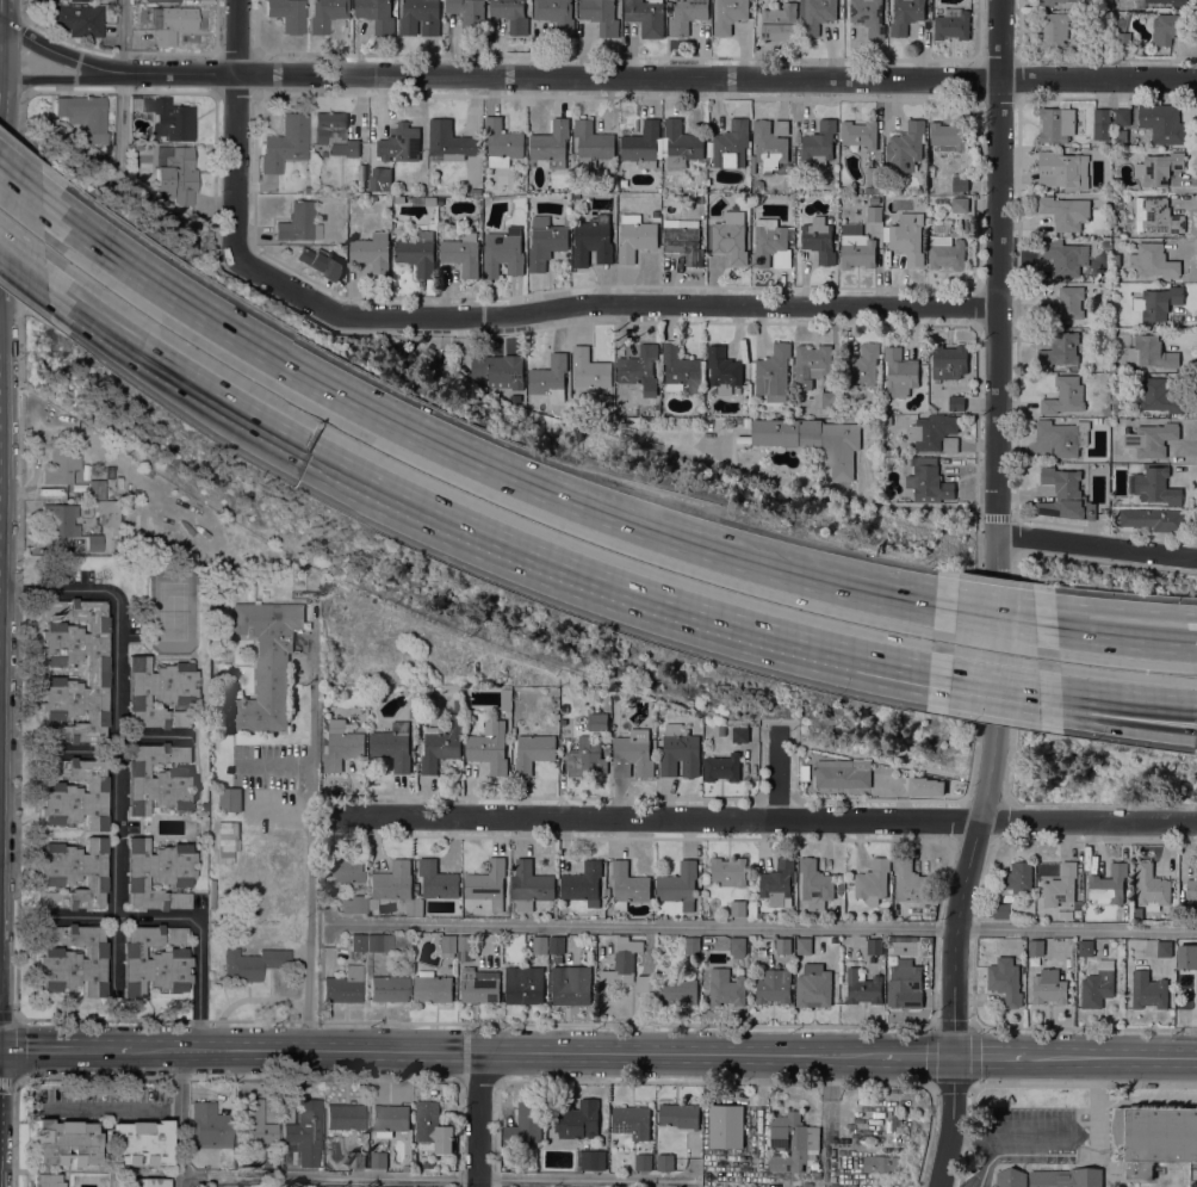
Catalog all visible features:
building: (79, 0)
building: (135, 0)
building: (1079, 0)
building: (162, 1)
building: (1049, 1)
building: (1170, 1)
building: (327, 13)
building: (287, 14)
building: (377, 14)
building: (510, 14)
building: (556, 14)
building: (815, 14)
building: (469, 16)
building: (601, 16)
building: (687, 16)
building: (728, 16)
building: (868, 16)
building: (905, 16)
building: (420, 17)
building: (646, 17)
building: (75, 19)
building: (780, 21)
building: (1122, 21)
building: (169, 23)
building: (951, 23)
building: (1166, 27)
building: (1053, 30)
building: (1102, 39)
building: (1122, 39)
road: (591, 75)
road: (61, 78)
road: (120, 84)
building: (85, 115)
building: (1122, 116)
building: (169, 119)
road: (234, 122)
building: (1162, 122)
building: (1056, 123)
building: (1100, 123)
building: (334, 134)
building: (860, 134)
building: (948, 134)
building: (449, 141)
building: (731, 142)
building: (285, 143)
building: (401, 143)
building: (502, 143)
building: (551, 143)
building: (591, 143)
building: (681, 143)
building: (770, 143)
building: (819, 143)
building: (643, 144)
building: (905, 147)
building: (752, 163)
building: (1158, 167)
building: (789, 168)
building: (1062, 168)
building: (361, 172)
building: (930, 172)
building: (176, 174)
building: (873, 174)
building: (377, 184)
building: (960, 184)
road: (21, 185)
building: (440, 188)
building: (868, 188)
building: (305, 190)
building: (475, 191)
building: (398, 199)
building: (424, 200)
building: (876, 200)
building: (959, 204)
building: (1065, 211)
building: (873, 214)
building: (1114, 214)
building: (1156, 216)
building: (298, 223)
building: (634, 236)
building: (907, 237)
building: (546, 240)
building: (593, 240)
building: (730, 240)
building: (818, 240)
building: (684, 243)
building: (770, 243)
building: (944, 246)
building: (856, 247)
building: (372, 253)
building: (417, 253)
building: (461, 253)
building: (502, 254)
building: (1063, 256)
building: (1117, 260)
building: (1153, 260)
building: (322, 262)
road: (999, 288)
road: (603, 302)
building: (1158, 302)
building: (1063, 305)
road: (143, 345)
building: (1059, 350)
building: (1151, 352)
building: (813, 360)
building: (948, 361)
building: (862, 365)
building: (590, 369)
building: (640, 369)
building: (680, 369)
building: (722, 369)
building: (498, 370)
building: (899, 372)
building: (773, 373)
building: (550, 378)
building: (1065, 396)
building: (1159, 396)
building: (829, 398)
building: (606, 402)
building: (956, 402)
building: (577, 407)
building: (641, 409)
building: (887, 419)
building: (935, 432)
building: (1061, 438)
building: (1152, 439)
building: (813, 441)
road: (440, 445)
building: (61, 463)
building: (928, 478)
building: (1154, 486)
building: (95, 489)
building: (1065, 495)
road: (850, 496)
building: (107, 513)
building: (1153, 519)
building: (58, 520)
building: (93, 543)
road: (1097, 546)
road: (693, 612)
road: (1031, 623)
road: (1191, 649)
road: (1191, 650)
building: (267, 662)
building: (98, 670)
building: (159, 692)
road: (1159, 698)
building: (506, 700)
road: (1159, 703)
building: (457, 704)
building: (411, 713)
building: (597, 722)
building: (721, 730)
building: (738, 734)
building: (441, 742)
building: (341, 744)
building: (392, 746)
building: (489, 747)
building: (533, 752)
building: (678, 752)
building: (632, 754)
building: (583, 758)
road: (274, 765)
building: (721, 767)
building: (842, 773)
road: (784, 774)
building: (159, 779)
building: (925, 786)
building: (75, 795)
building: (230, 798)
road: (113, 808)
road: (763, 818)
road: (310, 829)
building: (343, 870)
building: (728, 871)
building: (74, 873)
building: (157, 874)
building: (1016, 878)
building: (436, 879)
building: (873, 879)
building: (908, 880)
building: (777, 882)
building: (488, 883)
building: (393, 884)
building: (583, 884)
building: (813, 884)
building: (1109, 884)
building: (529, 885)
building: (627, 885)
building: (678, 885)
building: (1060, 885)
building: (1151, 886)
building: (1191, 891)
building: (353, 904)
building: (418, 907)
building: (737, 908)
building: (1000, 910)
building: (755, 911)
building: (1137, 913)
road: (77, 914)
road: (764, 927)
building: (900, 939)
building: (926, 939)
building: (356, 942)
building: (379, 942)
building: (540, 944)
building: (556, 944)
building: (448, 945)
building: (691, 945)
building: (782, 945)
building: (804, 945)
building: (738, 946)
building: (874, 946)
building: (464, 947)
building: (1036, 947)
building: (1085, 947)
road: (112, 948)
building: (1164, 948)
road: (953, 954)
building: (1187, 957)
building: (872, 958)
building: (73, 959)
building: (558, 959)
building: (154, 960)
building: (622, 960)
building: (252, 964)
building: (1005, 978)
building: (641, 982)
building: (479, 984)
building: (523, 984)
building: (570, 984)
building: (905, 984)
building: (342, 985)
building: (774, 985)
building: (813, 985)
building: (1049, 985)
building: (1097, 985)
building: (432, 987)
building: (862, 987)
building: (725, 988)
building: (387, 989)
building: (678, 989)
building: (1148, 990)
building: (1195, 1002)
road: (64, 1051)
road: (504, 1052)
road: (917, 1055)
traffic signals: (953, 1055)
road: (988, 1055)
road: (1110, 1056)
road: (107, 1106)
building: (678, 1114)
building: (345, 1117)
road: (179, 1119)
building: (389, 1119)
road: (477, 1119)
building: (577, 1119)
building: (254, 1121)
building: (632, 1121)
building: (897, 1123)
building: (207, 1124)
building: (525, 1124)
building: (726, 1125)
building: (430, 1126)
road: (969, 1133)
building: (303, 1135)
road: (1000, 1135)
building: (1154, 1137)
building: (848, 1138)
building: (66, 1142)
building: (139, 1143)
building: (793, 1143)
building: (590, 1158)
building: (356, 1160)
building: (378, 1160)
building: (664, 1161)
building: (643, 1162)
building: (881, 1163)
building: (817, 1175)
road: (328, 1176)
road: (581, 1177)
building: (1011, 1177)
building: (1066, 1177)
building: (46, 1180)
building: (143, 1182)
building: (246, 1185)

